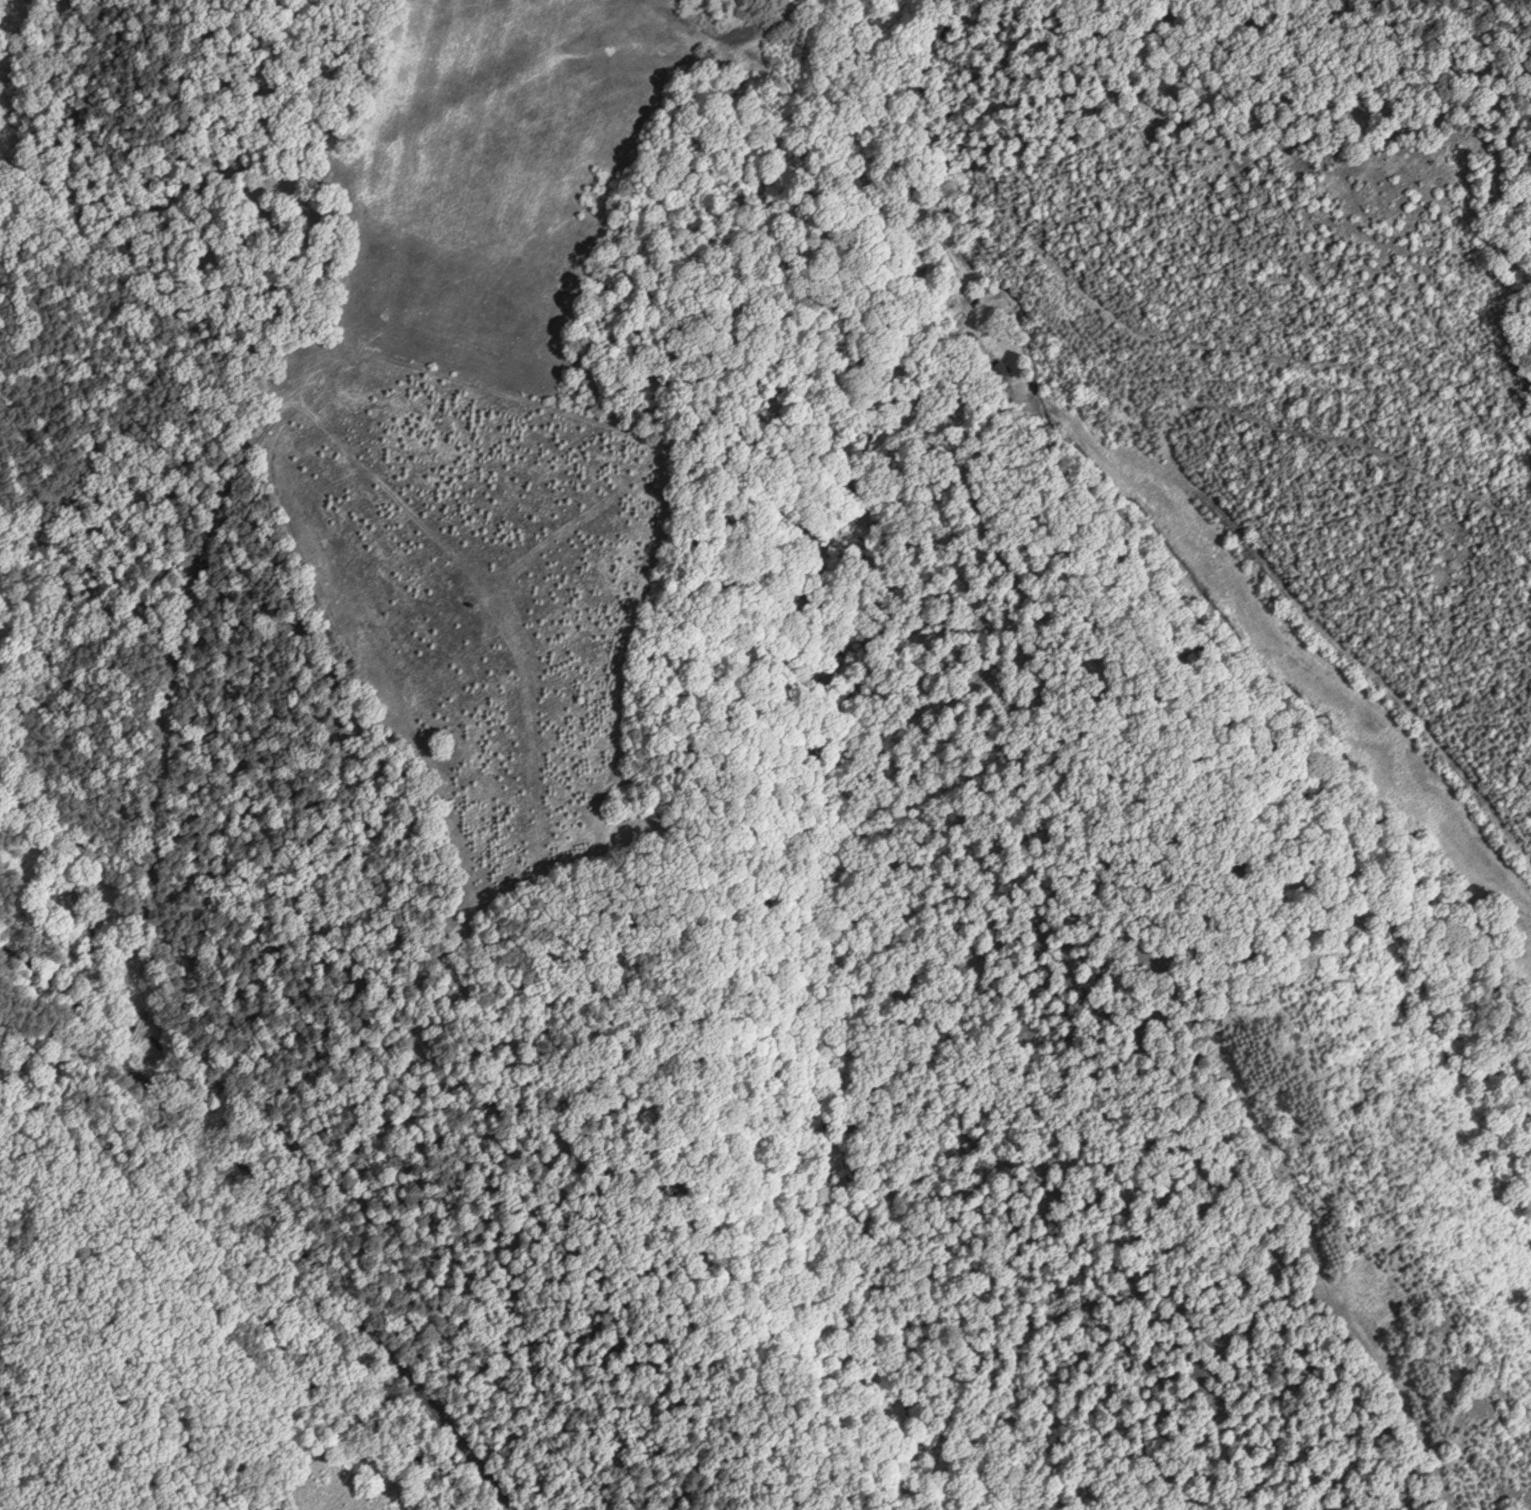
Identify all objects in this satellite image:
building: (999, 369)
road: (43, 973)
road: (313, 1251)

